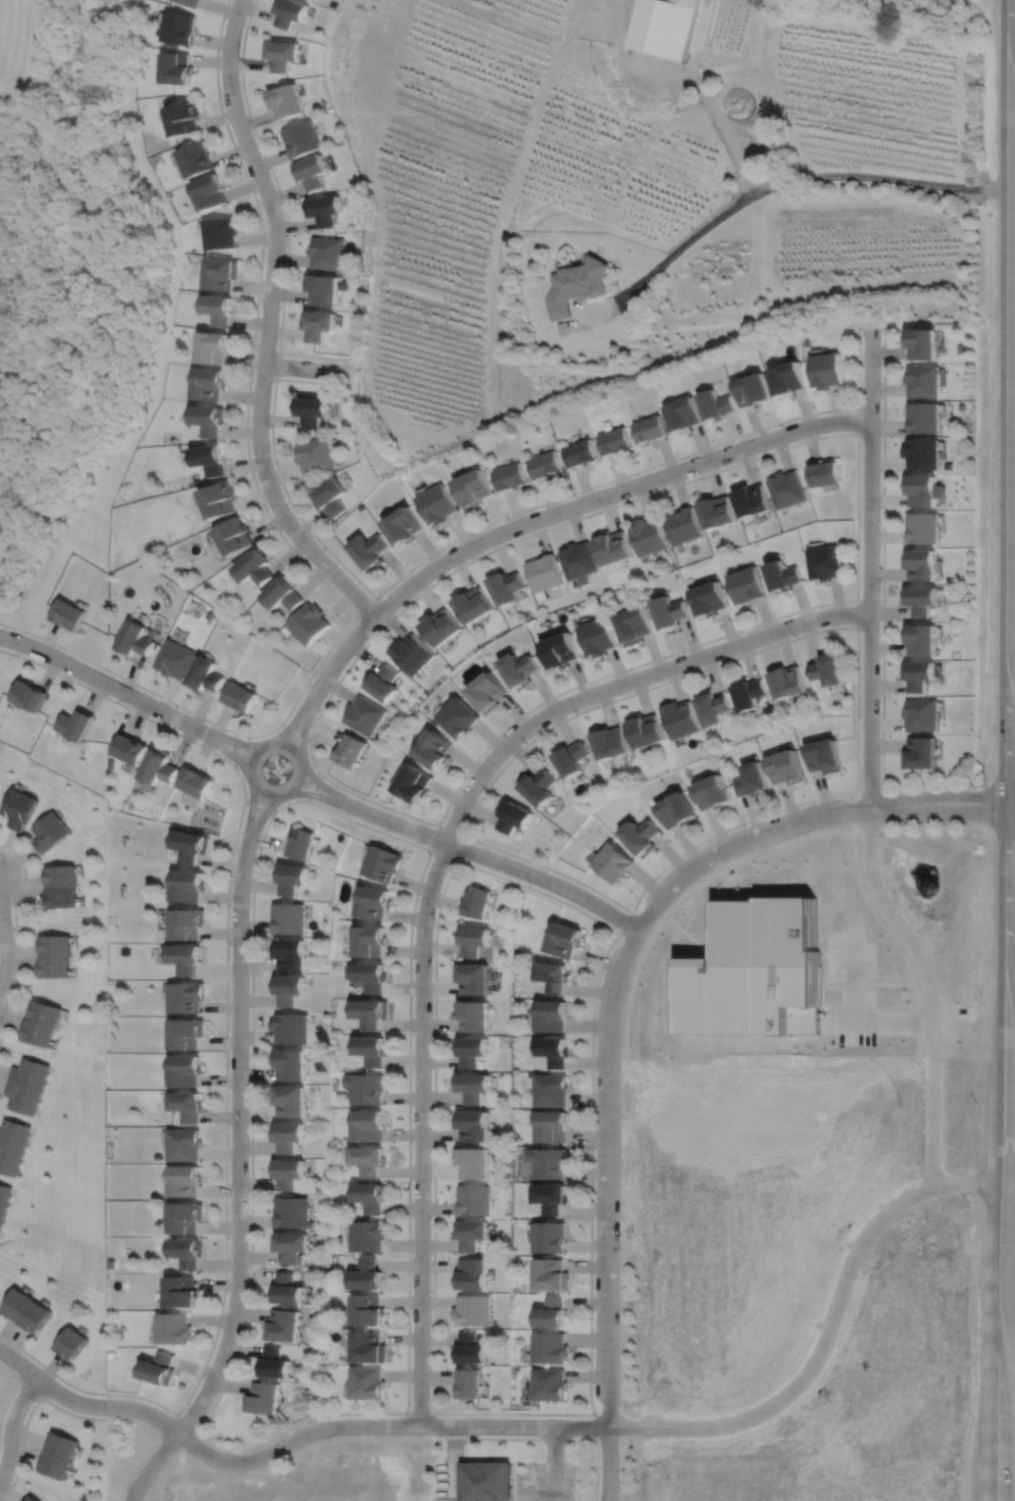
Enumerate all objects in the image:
building: (192, 2)
building: (290, 11)
building: (664, 26)
building: (178, 27)
building: (282, 53)
building: (177, 67)
road: (709, 99)
building: (287, 100)
building: (184, 117)
building: (302, 138)
building: (196, 159)
building: (312, 171)
road: (765, 189)
building: (210, 191)
road: (283, 206)
building: (324, 210)
building: (221, 233)
building: (327, 253)
building: (221, 274)
building: (577, 286)
building: (322, 289)
building: (218, 310)
road: (267, 323)
building: (318, 325)
building: (922, 345)
building: (214, 348)
road: (276, 365)
road: (306, 368)
building: (826, 371)
building: (787, 379)
building: (923, 382)
building: (210, 384)
building: (754, 391)
building: (717, 404)
road: (1009, 407)
building: (313, 409)
building: (683, 413)
building: (210, 418)
building: (923, 418)
road: (858, 421)
building: (650, 427)
building: (615, 440)
road: (781, 448)
building: (580, 451)
building: (922, 454)
building: (317, 455)
building: (211, 459)
building: (546, 463)
building: (823, 472)
building: (510, 475)
building: (472, 486)
building: (787, 487)
building: (921, 488)
road: (612, 492)
building: (333, 495)
building: (752, 498)
building: (220, 499)
building: (437, 503)
building: (718, 510)
road: (491, 522)
building: (403, 524)
building: (683, 524)
building: (923, 526)
building: (236, 535)
road: (281, 535)
building: (647, 535)
building: (612, 545)
building: (369, 548)
building: (579, 559)
building: (823, 561)
building: (920, 563)
building: (257, 567)
road: (869, 567)
building: (544, 572)
building: (783, 574)
building: (748, 584)
building: (506, 586)
building: (285, 594)
building: (710, 597)
building: (920, 598)
building: (472, 603)
road: (882, 605)
road: (366, 607)
building: (671, 610)
building: (69, 613)
road: (857, 613)
building: (311, 623)
building: (635, 624)
building: (439, 625)
building: (598, 635)
building: (921, 638)
building: (136, 639)
building: (561, 649)
road: (753, 651)
building: (410, 653)
building: (176, 659)
road: (337, 659)
building: (520, 668)
building: (826, 668)
building: (918, 673)
building: (207, 675)
road: (626, 681)
building: (786, 681)
building: (382, 682)
road: (106, 683)
building: (488, 692)
building: (748, 693)
building: (29, 695)
building: (241, 697)
building: (713, 707)
building: (921, 713)
building: (364, 715)
building: (458, 717)
building: (679, 718)
building: (76, 725)
road: (289, 727)
building: (645, 729)
road: (294, 732)
road: (302, 732)
road: (236, 742)
building: (610, 742)
building: (130, 749)
building: (434, 749)
building: (350, 750)
road: (240, 751)
road: (230, 753)
building: (920, 753)
building: (823, 755)
building: (570, 758)
building: (112, 764)
building: (160, 767)
building: (785, 767)
building: (751, 779)
building: (196, 783)
building: (414, 783)
road: (312, 786)
road: (325, 787)
building: (539, 787)
road: (871, 787)
street lamp: (973, 787)
building: (714, 792)
road: (942, 793)
road: (277, 796)
road: (321, 797)
road: (258, 806)
building: (20, 809)
building: (678, 810)
road: (943, 811)
road: (251, 813)
building: (513, 817)
road: (261, 819)
building: (50, 832)
road: (434, 835)
road: (462, 835)
building: (642, 836)
building: (302, 844)
road: (740, 844)
building: (192, 846)
road: (428, 848)
road: (442, 854)
road: (498, 861)
building: (614, 862)
building: (384, 864)
road: (446, 877)
building: (292, 880)
road: (1011, 883)
building: (61, 887)
building: (189, 887)
road: (689, 889)
building: (476, 902)
building: (375, 903)
building: (289, 919)
road: (624, 922)
building: (189, 925)
road: (15, 933)
road: (889, 940)
building: (473, 941)
building: (565, 941)
building: (372, 943)
road: (6, 950)
building: (292, 956)
building: (56, 957)
building: (187, 960)
building: (370, 976)
building: (758, 976)
building: (554, 977)
building: (472, 979)
road: (884, 987)
road: (929, 990)
building: (289, 991)
parking lot: (855, 993)
building: (187, 999)
building: (369, 1010)
building: (553, 1013)
building: (473, 1014)
road: (855, 1019)
building: (43, 1024)
building: (290, 1028)
building: (188, 1035)
building: (371, 1049)
building: (471, 1049)
building: (555, 1049)
road: (226, 1062)
building: (289, 1063)
building: (187, 1071)
building: (27, 1085)
building: (472, 1085)
building: (366, 1088)
building: (552, 1088)
building: (288, 1099)
building: (189, 1104)
building: (368, 1124)
building: (472, 1124)
building: (552, 1125)
road: (421, 1132)
building: (286, 1134)
building: (186, 1143)
building: (12, 1144)
building: (368, 1158)
road: (994, 1158)
building: (471, 1161)
building: (549, 1162)
building: (286, 1171)
building: (187, 1179)
road: (238, 1187)
building: (371, 1195)
building: (552, 1196)
building: (4, 1198)
building: (474, 1199)
road: (609, 1201)
building: (290, 1211)
building: (188, 1216)
building: (470, 1233)
building: (367, 1235)
building: (551, 1237)
building: (288, 1246)
building: (189, 1251)
building: (472, 1273)
building: (367, 1274)
building: (553, 1274)
building: (286, 1289)
building: (183, 1291)
building: (27, 1309)
building: (367, 1309)
building: (472, 1310)
building: (553, 1312)
building: (281, 1325)
building: (175, 1328)
road: (826, 1338)
building: (71, 1343)
building: (368, 1347)
building: (551, 1347)
building: (469, 1348)
building: (273, 1363)
building: (161, 1368)
building: (366, 1383)
building: (468, 1383)
building: (550, 1384)
road: (30, 1390)
road: (13, 1392)
building: (263, 1397)
road: (419, 1413)
road: (28, 1416)
road: (187, 1422)
road: (12, 1426)
road: (595, 1429)
road: (545, 1439)
road: (288, 1442)
building: (59, 1455)
road: (458, 1460)
road: (555, 1463)
building: (488, 1481)
parking lot: (546, 1483)
road: (607, 1489)
road: (610, 1489)
building: (32, 1499)

